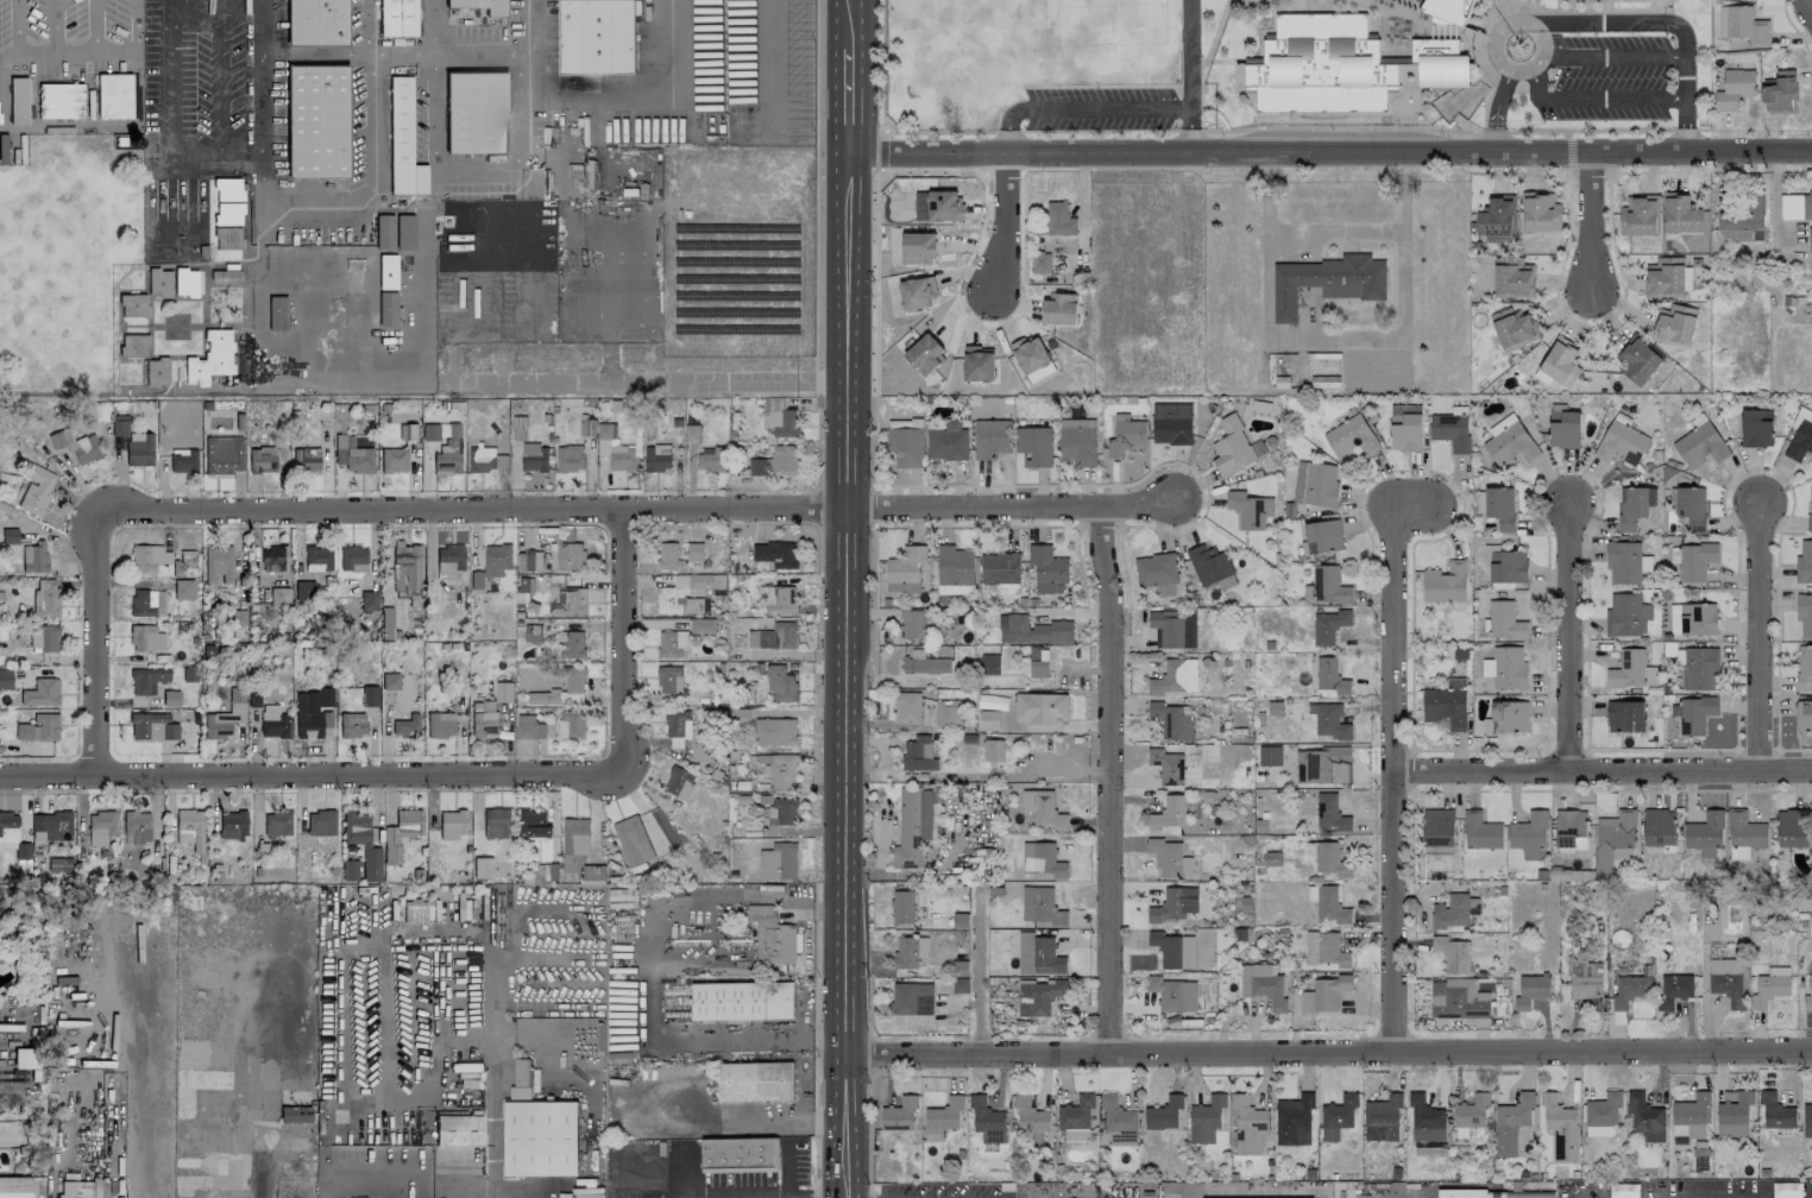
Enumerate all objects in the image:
building: (479, 6)
building: (1447, 10)
building: (397, 18)
building: (316, 21)
road: (136, 23)
road: (1580, 23)
road: (14, 24)
road: (55, 24)
road: (94, 24)
road: (847, 24)
building: (1742, 25)
parking lot: (67, 37)
building: (596, 37)
road: (1802, 44)
road: (96, 46)
road: (34, 48)
park: (1015, 53)
road: (313, 55)
road: (1188, 56)
road: (881, 58)
road: (10, 59)
road: (1602, 59)
building: (1439, 63)
building: (1319, 67)
road: (170, 78)
parking lot: (725, 82)
building: (1734, 89)
road: (367, 93)
building: (1779, 93)
building: (113, 95)
road: (1596, 97)
road: (845, 99)
building: (59, 100)
road: (1495, 100)
road: (1682, 102)
parking lot: (1099, 107)
road: (1101, 109)
building: (476, 112)
road: (258, 121)
building: (316, 121)
road: (1811, 127)
road: (1008, 128)
road: (1344, 128)
road: (1189, 131)
building: (402, 141)
building: (2, 149)
road: (881, 149)
road: (1328, 151)
road: (1568, 152)
road: (259, 168)
road: (999, 172)
road: (1565, 174)
building: (227, 190)
road: (814, 197)
road: (304, 203)
building: (944, 206)
building: (1795, 206)
road: (1080, 209)
road: (514, 210)
building: (1541, 213)
building: (226, 214)
building: (1681, 214)
park: (180, 215)
building: (1638, 215)
building: (1496, 219)
building: (1059, 220)
road: (1002, 221)
road: (1590, 222)
building: (384, 232)
building: (404, 232)
road: (1332, 233)
road: (652, 235)
building: (226, 238)
building: (1810, 240)
building: (918, 247)
park: (163, 251)
park: (67, 260)
building: (1040, 263)
road: (420, 269)
road: (653, 270)
building: (388, 271)
building: (1512, 277)
building: (1665, 278)
building: (184, 282)
building: (1326, 282)
building: (157, 283)
road: (956, 283)
building: (917, 292)
road: (606, 299)
building: (132, 305)
building: (386, 309)
building: (1059, 309)
building: (276, 313)
building: (1674, 324)
building: (1512, 327)
road: (476, 328)
building: (132, 346)
building: (925, 354)
building: (1030, 354)
building: (209, 358)
building: (1322, 359)
building: (1637, 360)
building: (1560, 362)
building: (977, 364)
building: (155, 372)
building: (1038, 373)
building: (1326, 382)
road: (646, 384)
road: (360, 385)
building: (781, 423)
building: (905, 423)
building: (1171, 423)
building: (586, 428)
building: (1405, 428)
building: (1562, 428)
building: (1756, 428)
building: (429, 431)
building: (605, 431)
building: (1451, 431)
building: (518, 434)
building: (1126, 436)
building: (990, 439)
building: (1351, 439)
building: (347, 441)
building: (1800, 441)
building: (946, 442)
building: (1077, 442)
building: (132, 443)
building: (1509, 443)
building: (1621, 443)
building: (76, 446)
building: (906, 446)
building: (1033, 446)
building: (1700, 446)
building: (1234, 447)
building: (222, 455)
building: (448, 456)
building: (483, 458)
building: (534, 458)
building: (622, 458)
building: (568, 459)
building: (710, 459)
building: (262, 460)
building: (306, 460)
building: (358, 460)
building: (394, 460)
building: (655, 461)
building: (775, 461)
building: (182, 462)
building: (1315, 485)
building: (36, 488)
building: (1691, 506)
building: (1499, 507)
building: (1631, 507)
road: (504, 509)
building: (1810, 509)
building: (1248, 510)
road: (1596, 519)
building: (1322, 536)
building: (694, 553)
building: (775, 554)
building: (32, 556)
building: (566, 556)
building: (668, 556)
building: (149, 557)
building: (273, 559)
building: (317, 559)
building: (352, 559)
building: (497, 559)
building: (448, 561)
building: (529, 561)
building: (1694, 561)
building: (1804, 562)
building: (218, 563)
building: (1623, 563)
building: (1208, 565)
building: (955, 566)
building: (405, 567)
building: (1508, 567)
building: (1000, 568)
building: (1047, 569)
building: (905, 570)
building: (1157, 574)
building: (556, 581)
building: (1445, 584)
building: (1329, 586)
building: (183, 589)
building: (955, 589)
building: (1007, 589)
building: (303, 591)
building: (523, 592)
building: (686, 593)
building: (278, 597)
building: (45, 598)
building: (369, 600)
building: (779, 600)
building: (566, 601)
building: (143, 603)
building: (1804, 614)
building: (1625, 616)
building: (1697, 619)
building: (1504, 622)
building: (386, 623)
building: (701, 625)
building: (912, 625)
building: (1328, 626)
building: (1172, 629)
building: (2, 631)
building: (1032, 631)
building: (531, 633)
building: (774, 636)
building: (43, 638)
building: (145, 638)
road: (1567, 638)
road: (1760, 638)
building: (671, 643)
building: (572, 644)
building: (1038, 662)
building: (924, 663)
building: (989, 664)
building: (1505, 668)
building: (1804, 668)
building: (1627, 669)
building: (1700, 669)
road: (1084, 670)
road: (847, 674)
building: (1330, 676)
building: (1175, 677)
building: (5, 679)
building: (573, 679)
building: (146, 680)
building: (669, 680)
building: (390, 681)
building: (780, 683)
building: (44, 691)
building: (503, 692)
building: (369, 695)
building: (170, 698)
building: (1446, 705)
building: (906, 707)
building: (1040, 708)
building: (312, 712)
building: (946, 713)
building: (738, 715)
building: (1695, 715)
building: (225, 717)
building: (1509, 717)
building: (1624, 717)
building: (1804, 717)
road: (383, 718)
building: (988, 720)
building: (272, 721)
building: (1171, 721)
building: (1329, 721)
building: (571, 724)
building: (678, 724)
building: (352, 725)
building: (440, 725)
building: (152, 726)
building: (405, 726)
building: (38, 727)
building: (529, 727)
building: (776, 731)
building: (675, 743)
building: (993, 750)
building: (918, 755)
building: (1270, 756)
building: (1321, 765)
building: (1166, 767)
road: (1602, 769)
building: (781, 770)
road: (1030, 771)
road: (438, 775)
road: (1107, 780)
road: (1392, 780)
building: (679, 783)
building: (1043, 808)
building: (781, 812)
building: (1169, 813)
building: (1330, 813)
building: (320, 822)
building: (277, 824)
building: (452, 824)
building: (496, 824)
building: (533, 824)
road: (881, 824)
building: (8, 825)
building: (232, 825)
building: (51, 826)
building: (137, 826)
building: (100, 827)
building: (1659, 827)
building: (189, 828)
building: (1437, 828)
building: (1571, 828)
building: (1792, 828)
building: (910, 830)
building: (1529, 831)
building: (1745, 831)
building: (1480, 832)
building: (1705, 833)
building: (402, 834)
building: (575, 837)
building: (1615, 839)
building: (631, 840)
building: (361, 841)
building: (1572, 853)
building: (1533, 855)
building: (1169, 858)
building: (1042, 859)
building: (1330, 859)
building: (778, 862)
building: (59, 864)
building: (483, 868)
building: (350, 870)
road: (906, 872)
building: (593, 875)
building: (6, 901)
building: (1174, 904)
building: (1328, 904)
building: (901, 907)
building: (1040, 907)
building: (1451, 912)
building: (414, 913)
building: (772, 937)
building: (1172, 950)
building: (1325, 950)
building: (910, 952)
building: (1452, 954)
building: (1038, 956)
road: (643, 969)
road: (975, 976)
building: (1585, 979)
building: (1726, 981)
building: (960, 985)
building: (1262, 985)
building: (1530, 990)
building: (1673, 990)
building: (1768, 990)
building: (1629, 991)
building: (1172, 994)
building: (1325, 995)
building: (1039, 996)
building: (1808, 996)
building: (912, 998)
building: (1458, 1000)
building: (741, 1001)
road: (440, 1023)
road: (1329, 1054)
road: (490, 1080)
building: (755, 1082)
building: (1603, 1110)
building: (1471, 1111)
building: (1076, 1112)
building: (1775, 1112)
building: (294, 1114)
building: (898, 1114)
building: (1163, 1114)
building: (1734, 1114)
building: (1693, 1115)
building: (1030, 1116)
building: (1338, 1116)
building: (1644, 1117)
building: (942, 1118)
building: (1382, 1118)
building: (1206, 1120)
building: (1426, 1120)
building: (1807, 1120)
road: (740, 1121)
building: (987, 1121)
building: (1294, 1121)
building: (1511, 1123)
building: (1248, 1126)
building: (1560, 1128)
building: (458, 1129)
building: (1076, 1135)
building: (541, 1139)
building: (740, 1155)
road: (359, 1180)
building: (14, 1186)
building: (82, 1190)
building: (598, 1191)
road: (1254, 1193)
building: (1461, 1193)
road: (468, 1194)
building: (1496, 1194)
road: (487, 1196)
road: (1187, 1196)
road: (1703, 1196)
road: (756, 1197)

